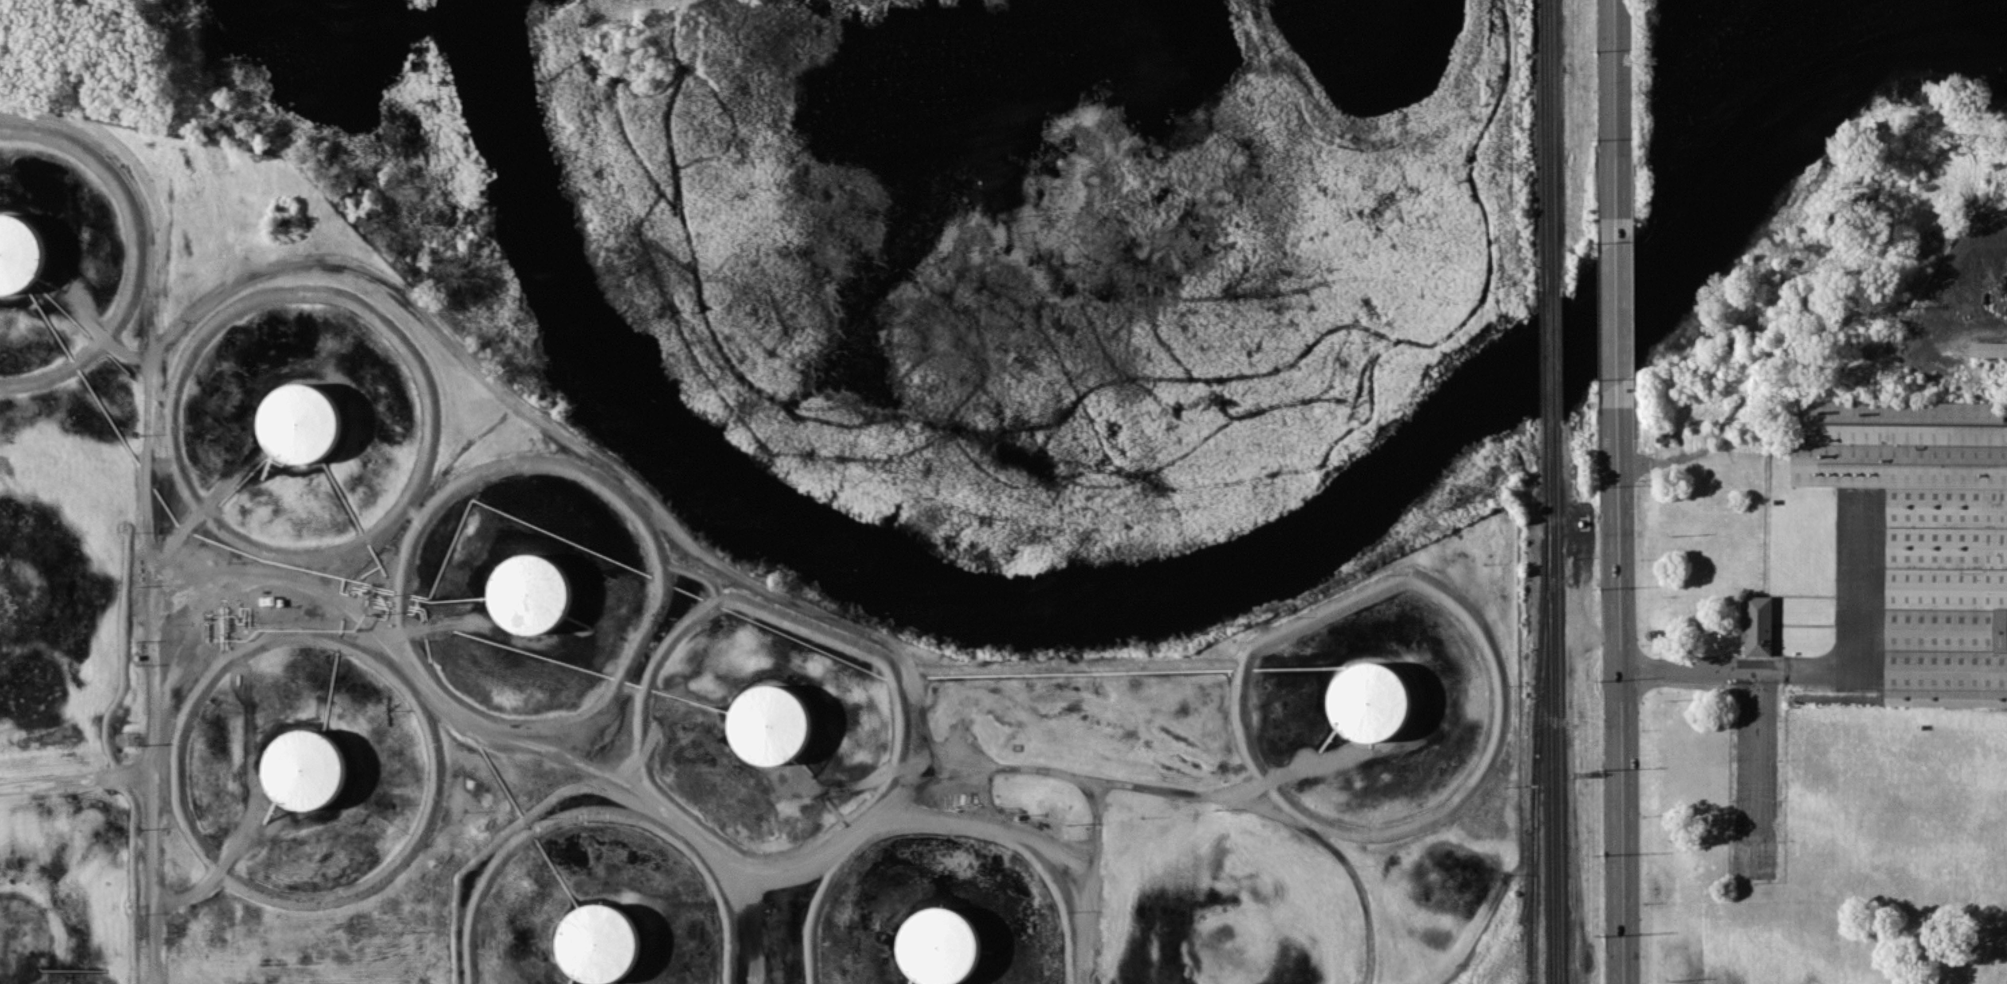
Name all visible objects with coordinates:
road: (1610, 122)
railway: (1553, 149)
railway: (1543, 151)
building: (19, 244)
road: (125, 248)
road: (417, 308)
road: (1614, 320)
road: (100, 332)
road: (399, 332)
building: (1988, 347)
railway: (1555, 359)
railway: (1545, 364)
road: (9, 379)
building: (292, 420)
road: (1719, 431)
road: (197, 505)
road: (210, 517)
building: (1925, 534)
road: (656, 565)
building: (531, 580)
river: (1103, 598)
road: (1314, 617)
road: (403, 620)
building: (1759, 624)
road: (1823, 672)
road: (1615, 690)
building: (1367, 700)
railway: (1558, 702)
railway: (1549, 704)
road: (896, 709)
building: (768, 711)
road: (164, 731)
railway: (1536, 757)
road: (564, 761)
building: (303, 763)
road: (639, 765)
road: (1299, 771)
parking lot: (1754, 777)
road: (71, 784)
road: (1124, 786)
road: (441, 807)
road: (1422, 818)
road: (600, 834)
road: (944, 842)
road: (212, 863)
building: (595, 940)
building: (939, 942)

